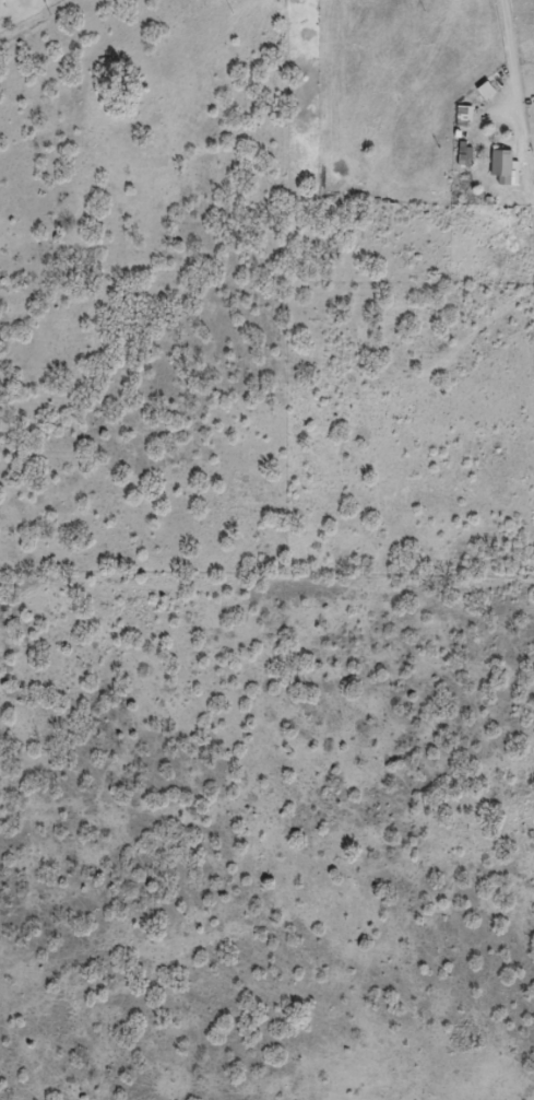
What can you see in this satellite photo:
building: (465, 154)
building: (502, 165)

